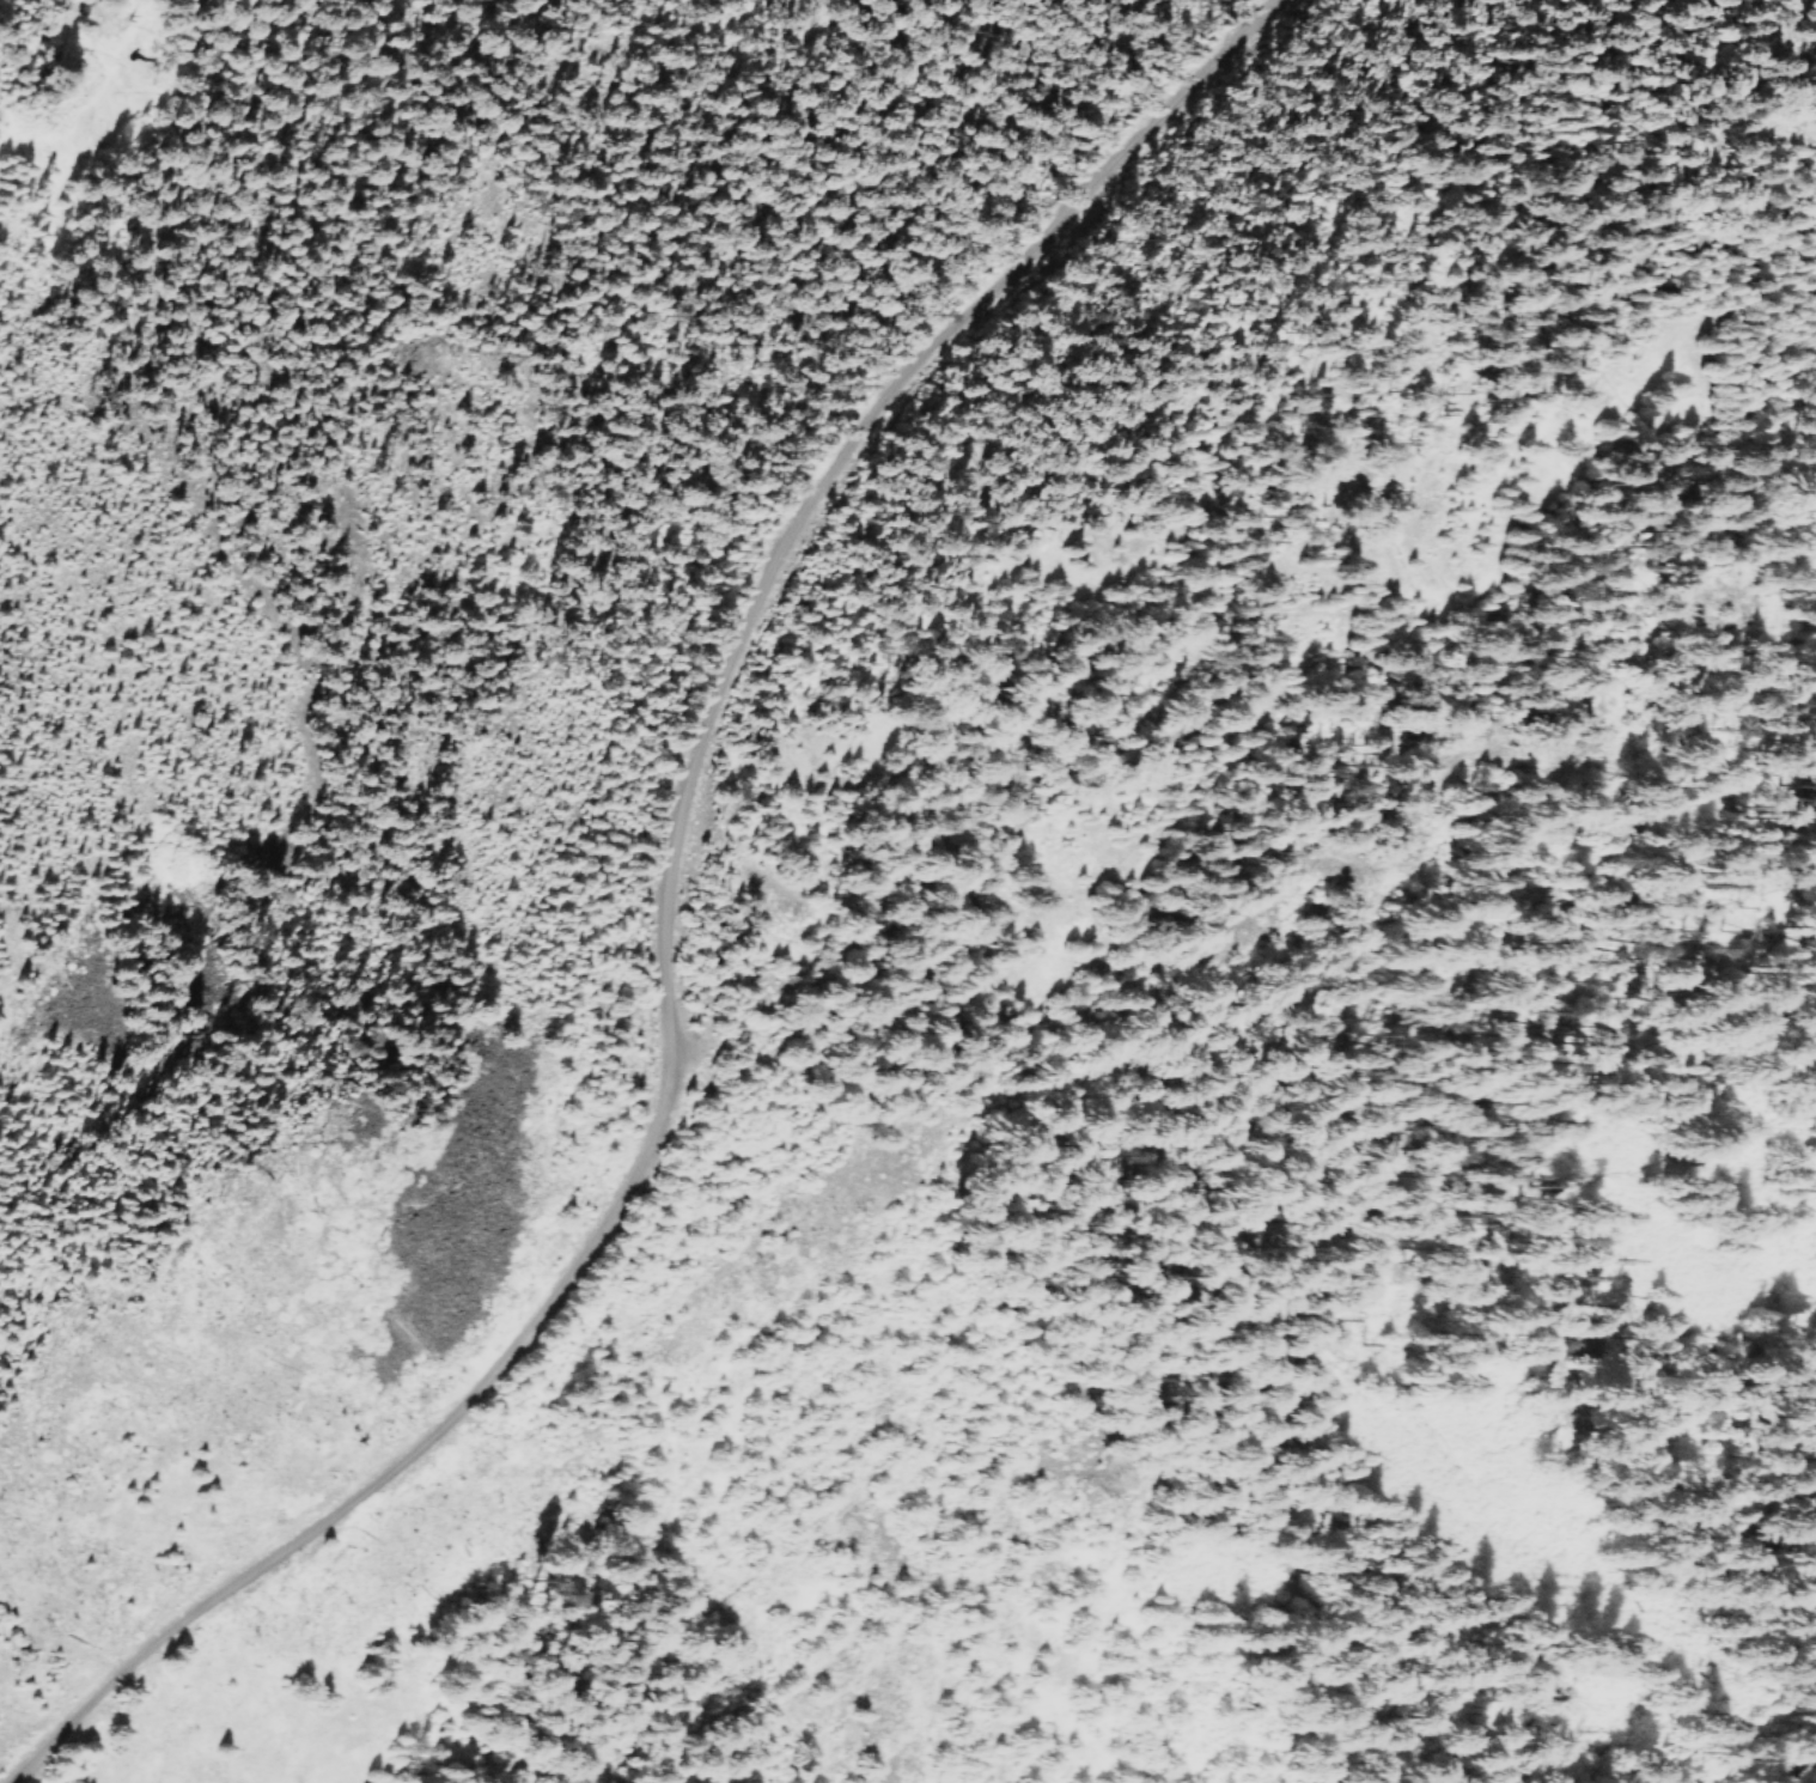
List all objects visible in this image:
road: (666, 921)

